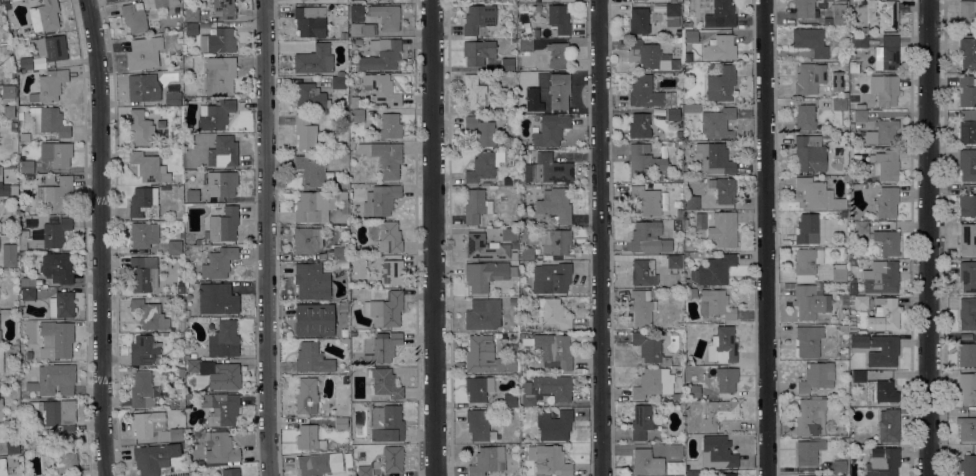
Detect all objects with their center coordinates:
building: (299, 0)
building: (301, 0)
building: (305, 0)
building: (376, 0)
building: (383, 0)
building: (557, 0)
building: (171, 2)
building: (1, 7)
building: (804, 8)
building: (224, 9)
building: (355, 12)
building: (838, 13)
building: (48, 14)
building: (672, 14)
building: (883, 14)
building: (191, 15)
building: (720, 15)
building: (385, 16)
building: (967, 16)
building: (134, 17)
building: (478, 18)
building: (558, 19)
building: (826, 20)
building: (310, 21)
building: (638, 21)
building: (191, 29)
building: (362, 29)
building: (536, 32)
building: (343, 35)
building: (690, 36)
building: (217, 41)
building: (810, 41)
building: (859, 41)
building: (525, 45)
building: (51, 47)
building: (720, 47)
building: (478, 52)
building: (143, 53)
building: (968, 53)
building: (380, 55)
building: (558, 55)
building: (649, 56)
building: (887, 58)
building: (314, 59)
building: (25, 63)
building: (507, 64)
building: (352, 66)
building: (717, 67)
building: (853, 67)
building: (340, 73)
building: (219, 75)
building: (535, 76)
building: (808, 78)
building: (337, 82)
building: (721, 84)
building: (49, 86)
building: (142, 88)
building: (381, 88)
building: (884, 89)
building: (967, 90)
building: (8, 91)
building: (559, 91)
building: (473, 92)
building: (644, 92)
building: (310, 97)
building: (172, 98)
building: (354, 101)
building: (839, 104)
building: (859, 106)
building: (691, 109)
building: (8, 111)
building: (214, 114)
building: (672, 114)
building: (355, 115)
building: (860, 115)
building: (804, 117)
building: (49, 121)
building: (717, 123)
building: (639, 125)
building: (390, 126)
building: (13, 127)
building: (140, 127)
building: (549, 130)
building: (480, 131)
building: (304, 132)
building: (882, 132)
building: (967, 132)
building: (660, 136)
building: (222, 152)
building: (520, 152)
building: (56, 153)
building: (809, 153)
building: (384, 157)
building: (714, 158)
building: (644, 162)
building: (967, 164)
building: (885, 165)
building: (9, 166)
building: (26, 166)
building: (483, 166)
building: (148, 167)
building: (547, 169)
building: (313, 172)
building: (678, 174)
building: (48, 179)
building: (506, 181)
building: (221, 183)
building: (489, 185)
building: (3, 187)
building: (352, 187)
building: (723, 189)
building: (818, 194)
building: (55, 195)
building: (192, 195)
building: (380, 200)
building: (646, 200)
building: (691, 202)
building: (886, 202)
building: (142, 203)
building: (318, 205)
building: (555, 205)
building: (967, 205)
building: (475, 207)
building: (678, 213)
building: (843, 214)
building: (700, 221)
building: (513, 224)
building: (222, 225)
building: (0, 226)
building: (723, 229)
building: (807, 229)
building: (859, 231)
building: (52, 234)
building: (507, 234)
building: (143, 235)
road: (106, 237)
building: (388, 237)
road: (271, 238)
road: (435, 238)
road: (600, 238)
building: (648, 238)
road: (764, 238)
road: (928, 238)
building: (967, 239)
building: (307, 240)
building: (554, 241)
building: (887, 242)
building: (22, 245)
building: (174, 246)
building: (483, 247)
building: (857, 252)
building: (525, 253)
building: (339, 254)
building: (9, 255)
building: (680, 255)
building: (807, 261)
building: (219, 262)
building: (674, 263)
building: (343, 264)
building: (57, 267)
building: (358, 267)
building: (712, 271)
building: (391, 272)
building: (839, 272)
building: (142, 273)
building: (642, 273)
building: (486, 274)
building: (967, 276)
building: (880, 277)
building: (551, 278)
building: (27, 282)
building: (311, 282)
building: (852, 286)
building: (688, 293)
building: (27, 294)
building: (850, 297)
building: (217, 299)
building: (845, 299)
building: (511, 301)
building: (810, 301)
building: (860, 301)
building: (715, 304)
building: (61, 305)
building: (343, 307)
building: (641, 307)
building: (385, 309)
building: (186, 313)
building: (553, 313)
building: (149, 314)
building: (482, 314)
building: (967, 314)
building: (844, 315)
building: (887, 316)
building: (313, 320)
building: (843, 329)
building: (521, 334)
building: (57, 337)
building: (512, 337)
building: (223, 339)
building: (808, 340)
building: (527, 341)
building: (724, 344)
building: (382, 348)
building: (649, 348)
building: (144, 351)
building: (554, 351)
building: (882, 351)
building: (44, 352)
building: (28, 355)
building: (967, 355)
building: (192, 356)
building: (485, 356)
building: (312, 359)
building: (1, 360)
building: (346, 371)
building: (216, 373)
building: (858, 376)
building: (816, 377)
building: (344, 379)
building: (726, 379)
building: (52, 380)
building: (383, 382)
building: (654, 383)
building: (967, 387)
building: (478, 388)
building: (547, 389)
building: (141, 390)
building: (693, 391)
building: (880, 391)
building: (188, 396)
building: (306, 396)
building: (509, 400)
building: (168, 402)
building: (220, 408)
building: (0, 410)
building: (56, 413)
building: (327, 413)
building: (718, 413)
building: (13, 417)
building: (810, 417)
building: (385, 422)
building: (640, 422)
building: (340, 423)
building: (478, 424)
building: (553, 424)
building: (888, 425)
building: (154, 427)
building: (967, 428)
building: (308, 438)
building: (182, 445)
building: (8, 447)
building: (219, 447)
building: (675, 450)
building: (718, 450)
building: (808, 451)
building: (64, 456)
building: (347, 456)
building: (154, 458)
building: (392, 458)
building: (487, 460)
building: (548, 460)
building: (646, 462)
building: (882, 462)
building: (200, 463)
building: (348, 463)
building: (319, 464)
building: (968, 465)
building: (839, 466)
building: (2, 467)
building: (364, 470)
building: (230, 472)
building: (512, 474)
building: (727, 474)
building: (806, 475)
building: (806, 475)
building: (827, 475)

